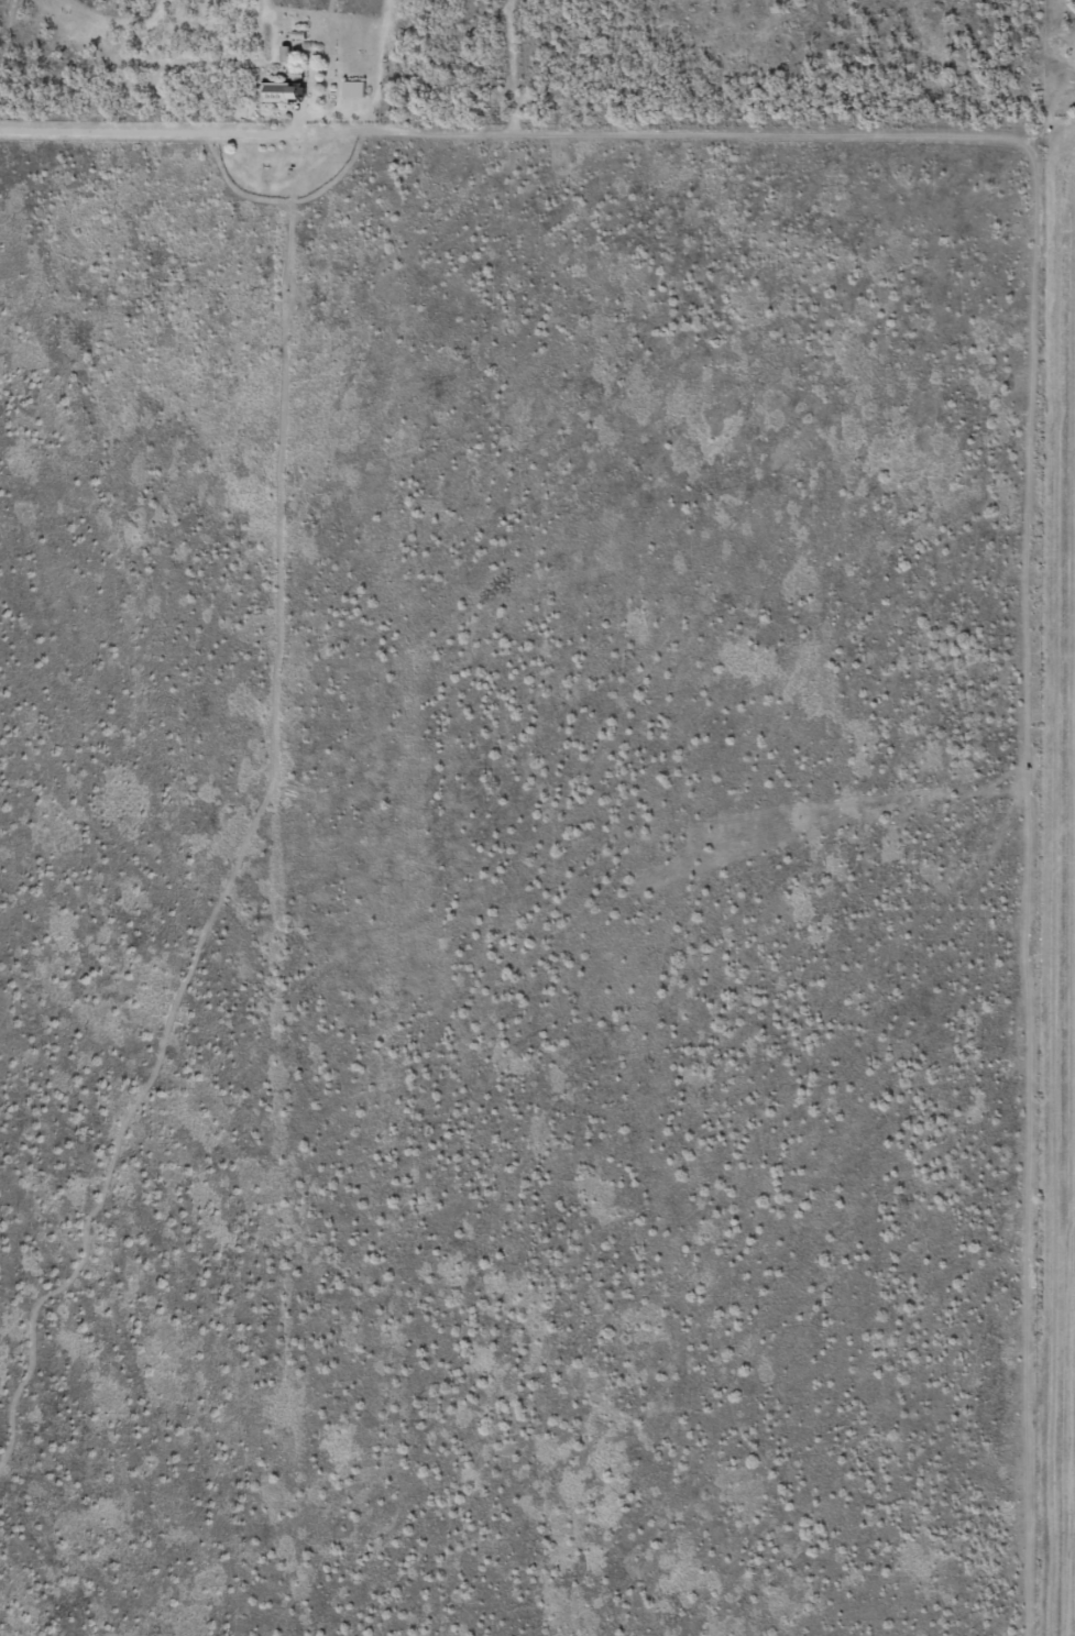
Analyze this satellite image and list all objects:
building: (276, 91)

